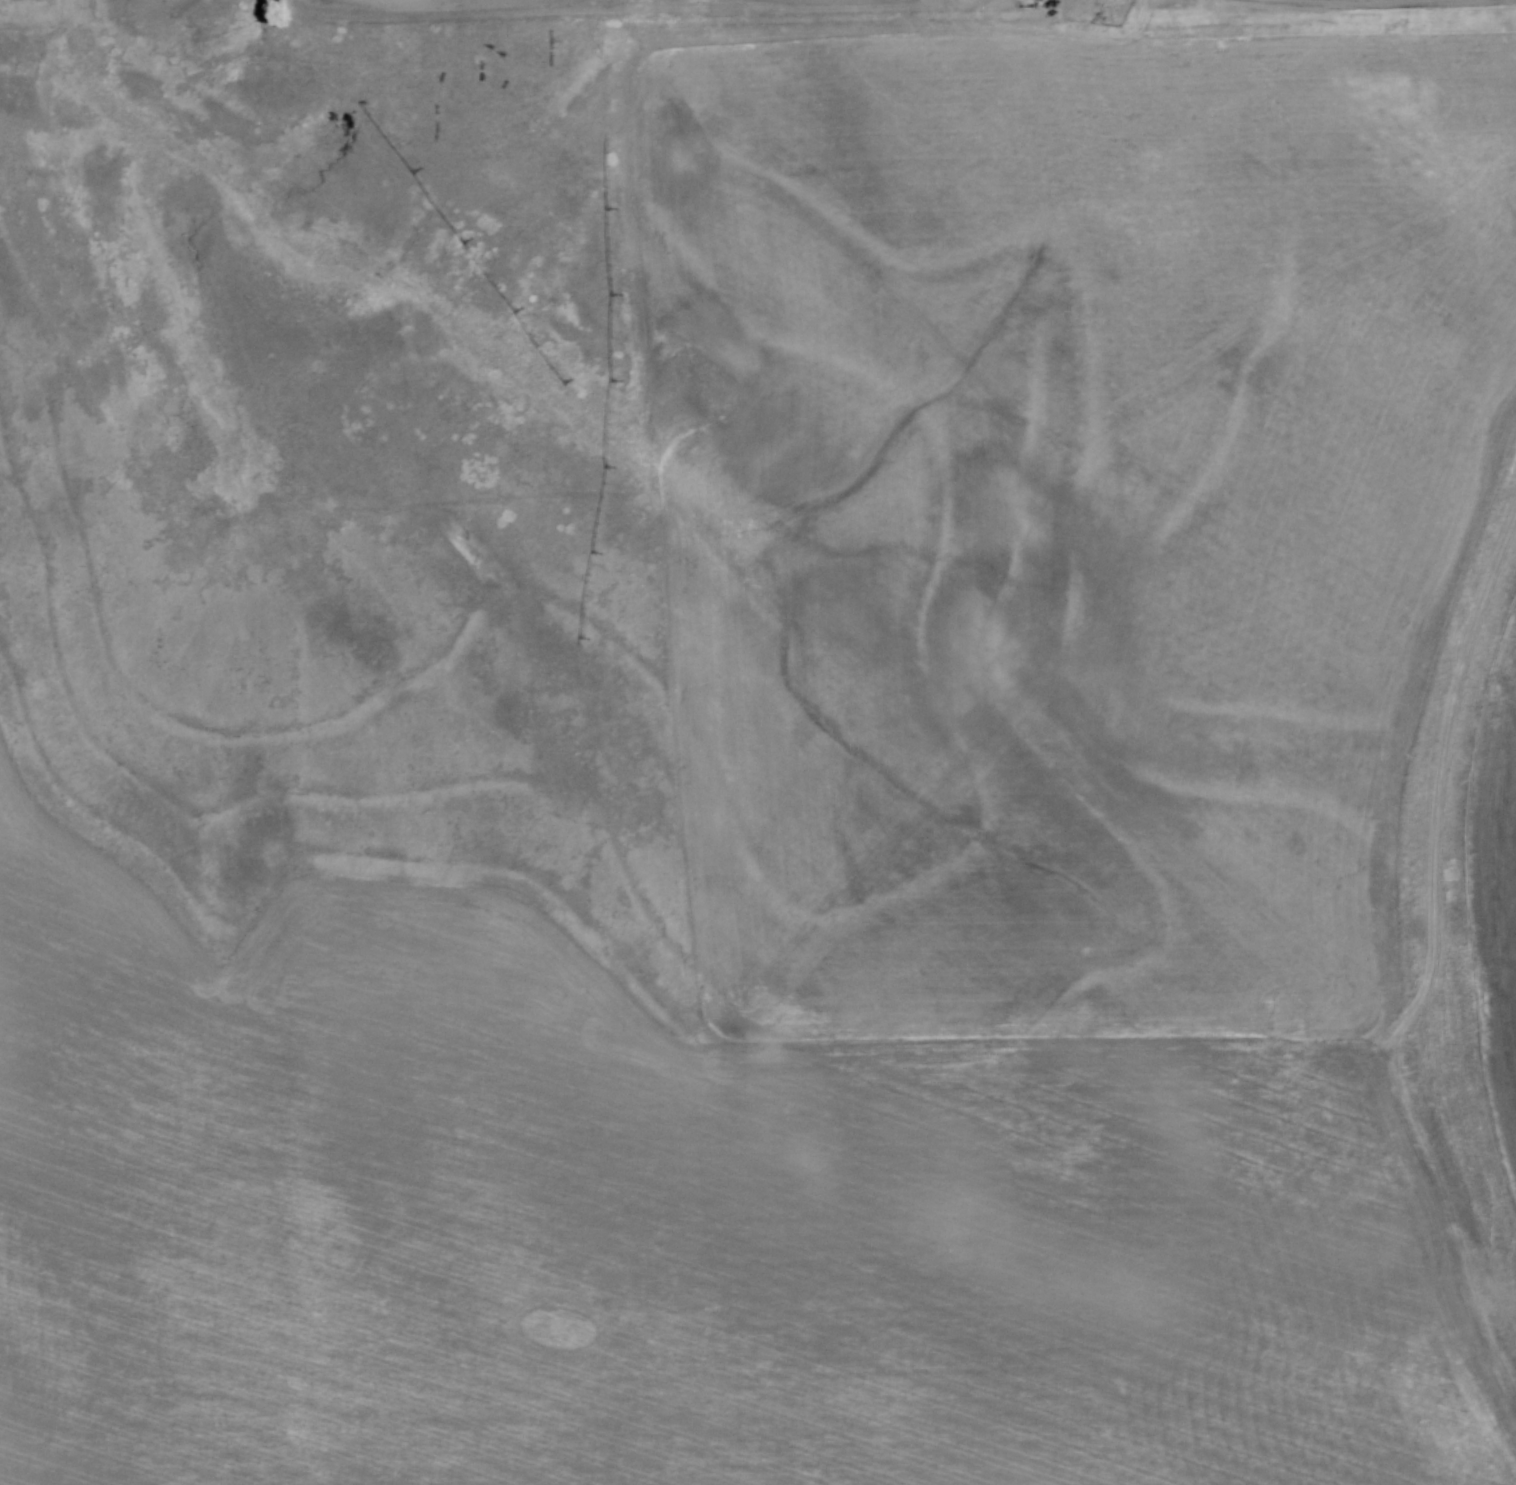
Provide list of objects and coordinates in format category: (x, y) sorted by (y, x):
crop: (500, 2)
crop: (877, 850)
crop: (1486, 895)

